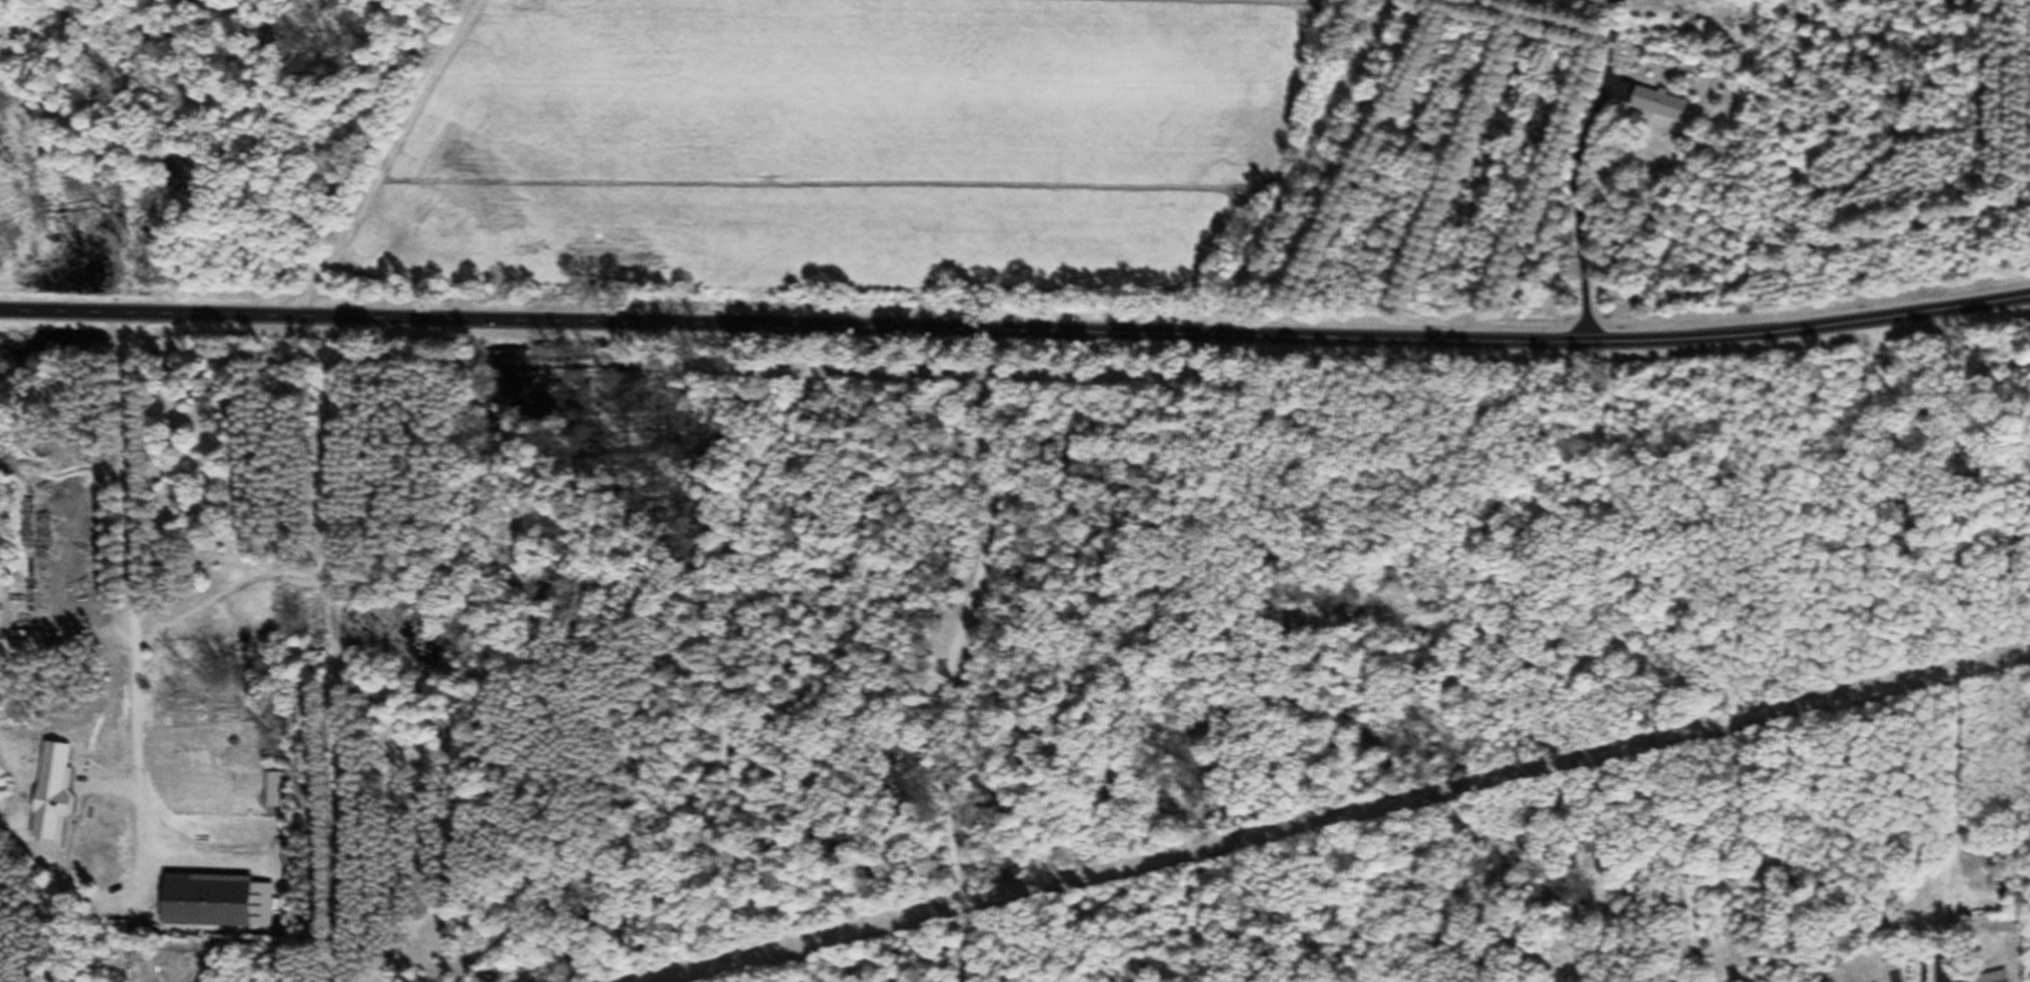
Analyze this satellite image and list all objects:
building: (1658, 111)
road: (1578, 211)
road: (1017, 328)
road: (136, 646)
road: (1665, 694)
building: (1975, 922)

